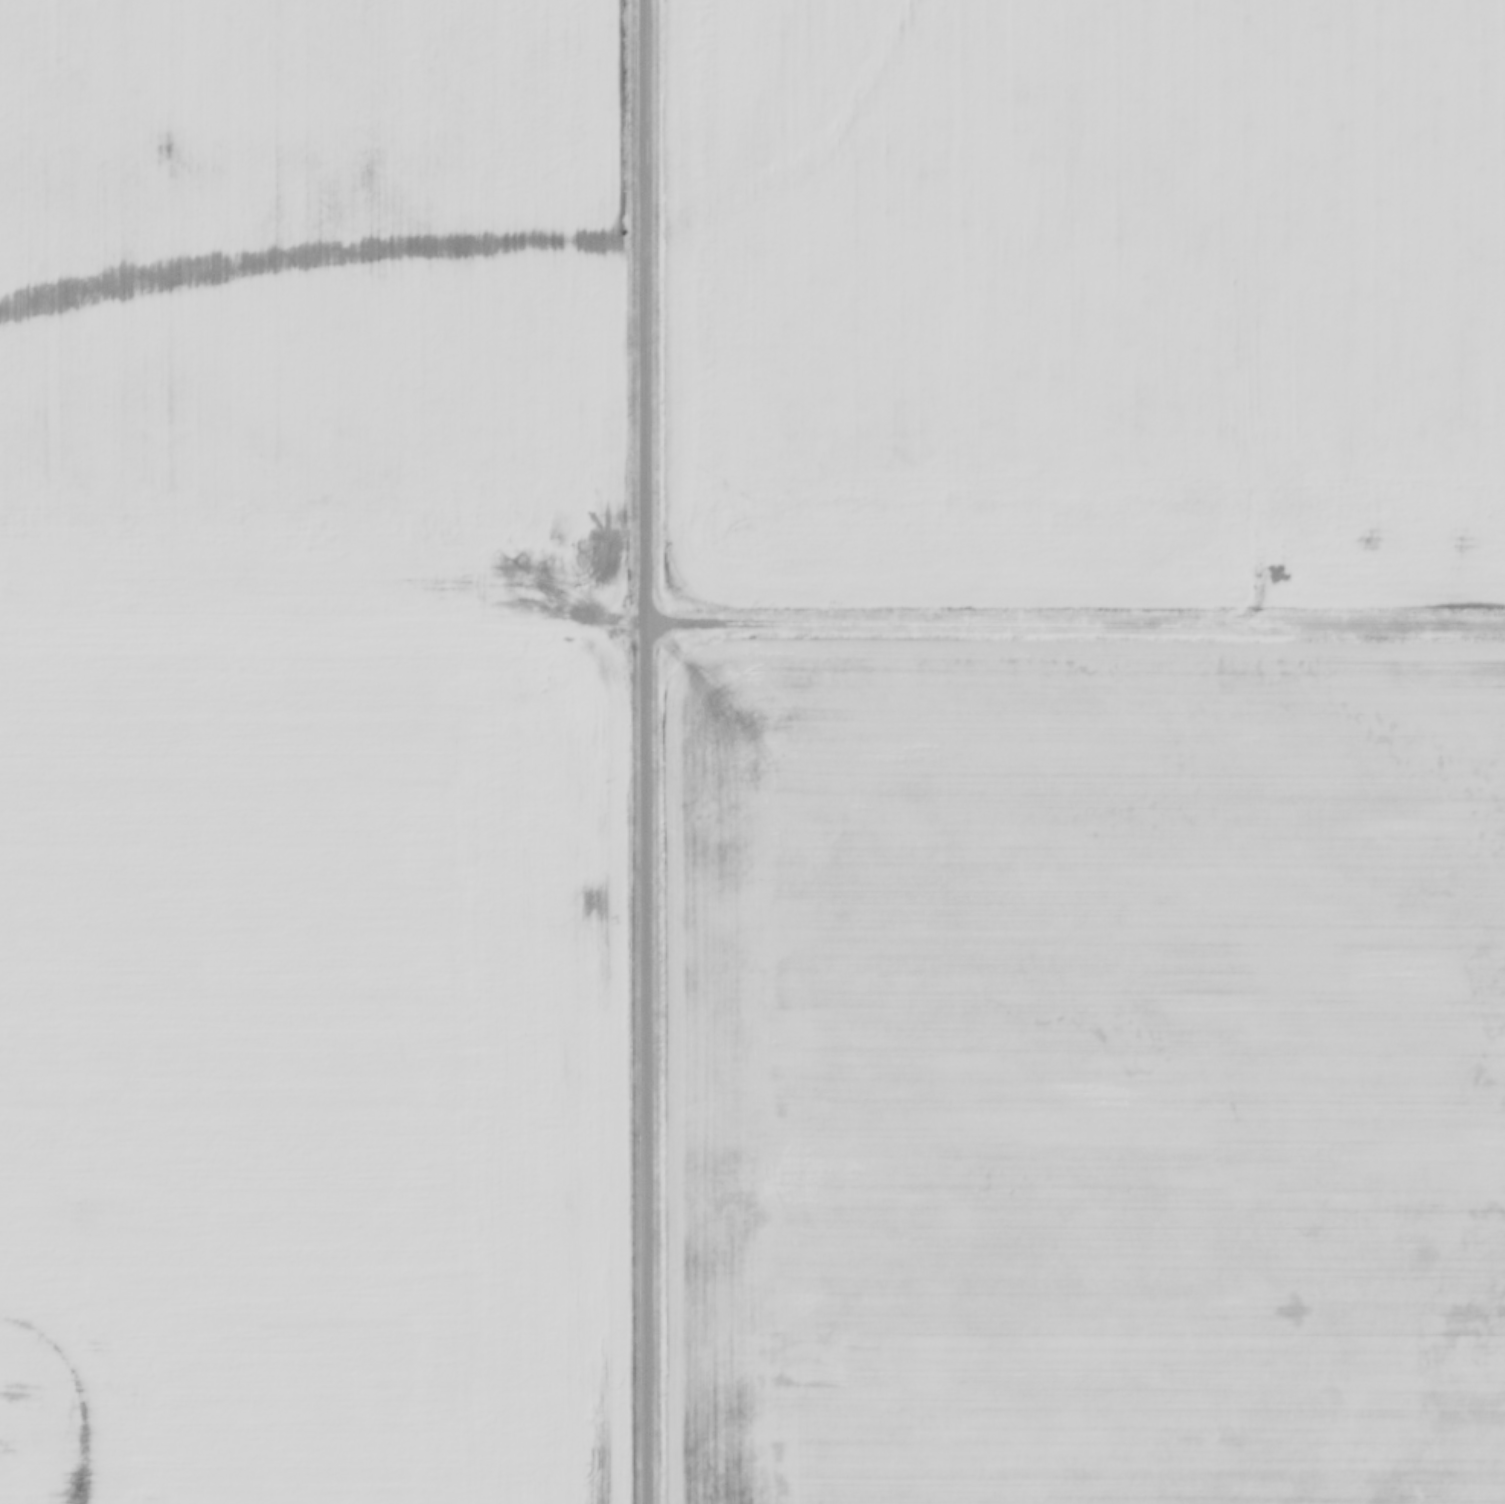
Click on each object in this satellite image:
road: (752, 619)
road: (650, 752)

